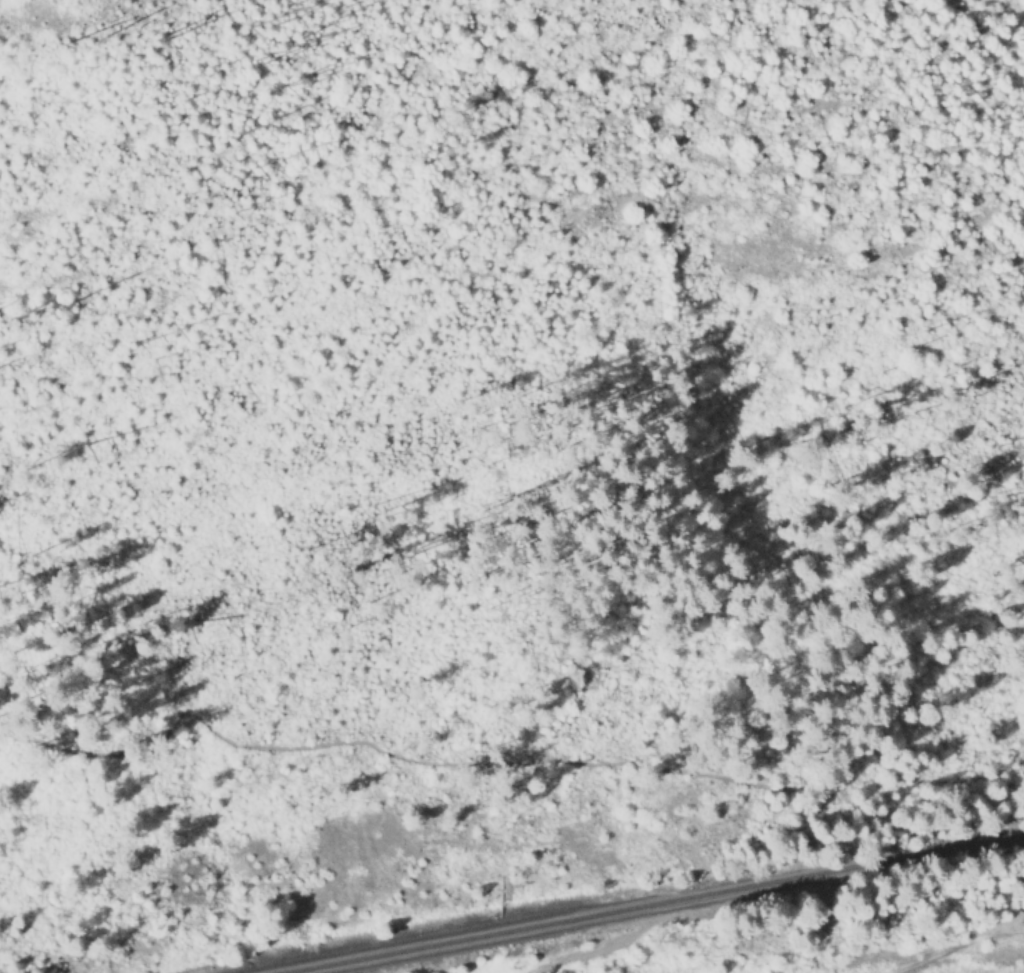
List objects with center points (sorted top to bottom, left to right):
road: (508, 764)
railway: (648, 901)

